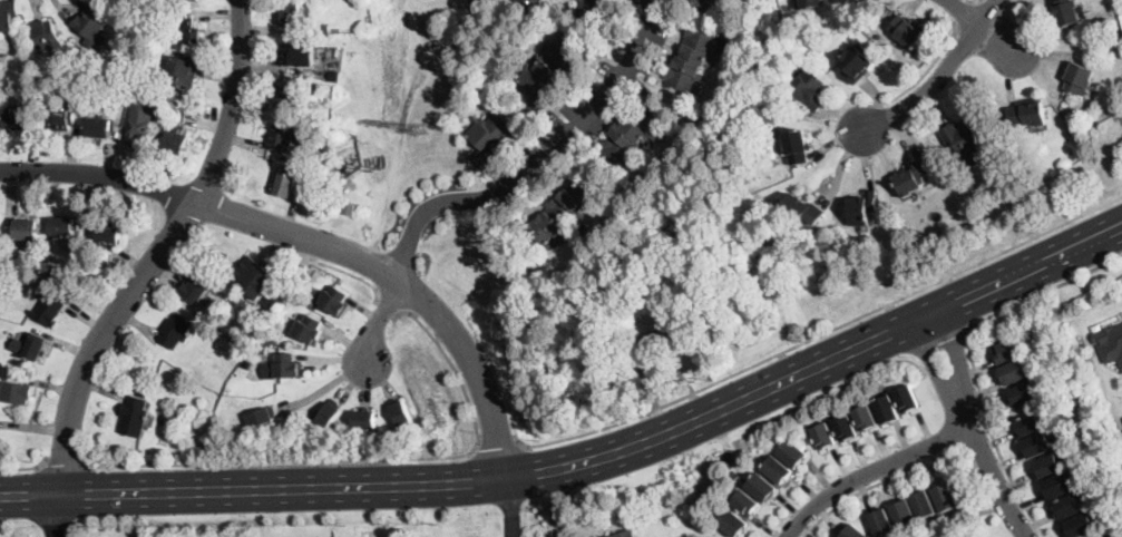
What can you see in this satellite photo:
road: (970, 0)
building: (183, 1)
building: (699, 3)
building: (812, 3)
building: (530, 4)
road: (475, 8)
building: (598, 9)
road: (964, 10)
building: (1066, 12)
building: (9, 14)
building: (293, 14)
building: (92, 22)
road: (983, 25)
building: (324, 30)
building: (185, 31)
building: (908, 31)
building: (47, 33)
building: (297, 55)
building: (693, 58)
building: (856, 62)
road: (928, 70)
building: (183, 71)
building: (549, 72)
building: (334, 76)
road: (940, 76)
building: (1079, 78)
building: (118, 82)
building: (810, 89)
building: (285, 95)
building: (175, 107)
building: (159, 111)
building: (1028, 114)
building: (61, 118)
building: (140, 119)
building: (19, 120)
building: (101, 127)
power tower: (420, 129)
building: (635, 129)
building: (283, 134)
building: (492, 137)
building: (966, 139)
building: (174, 144)
building: (323, 146)
building: (797, 146)
road: (544, 164)
building: (762, 165)
power tower: (378, 168)
building: (914, 178)
building: (286, 184)
building: (862, 208)
building: (565, 209)
building: (802, 209)
building: (62, 226)
building: (27, 230)
building: (108, 236)
road: (313, 240)
building: (53, 247)
road: (158, 256)
building: (246, 273)
road: (1085, 273)
road: (355, 277)
building: (197, 285)
building: (312, 289)
building: (335, 299)
building: (274, 301)
road: (389, 304)
building: (50, 309)
road: (381, 320)
building: (310, 328)
building: (799, 328)
building: (175, 331)
road: (820, 334)
building: (274, 335)
building: (657, 342)
building: (1110, 342)
building: (35, 346)
building: (262, 346)
building: (1008, 352)
road: (818, 362)
building: (283, 364)
road: (452, 367)
building: (642, 370)
building: (1014, 371)
building: (14, 392)
building: (1023, 393)
building: (330, 411)
building: (402, 411)
building: (263, 414)
building: (134, 417)
building: (365, 417)
building: (866, 417)
building: (1030, 424)
road: (972, 426)
road: (991, 431)
road: (976, 442)
building: (1037, 445)
road: (498, 446)
road: (280, 461)
road: (67, 463)
building: (1047, 466)
road: (26, 469)
road: (874, 470)
road: (507, 482)
road: (877, 485)
road: (253, 486)
building: (1057, 486)
building: (761, 488)
building: (1069, 507)
building: (933, 509)
road: (513, 512)
road: (58, 521)
building: (1081, 525)
building: (855, 533)
building: (626, 534)

